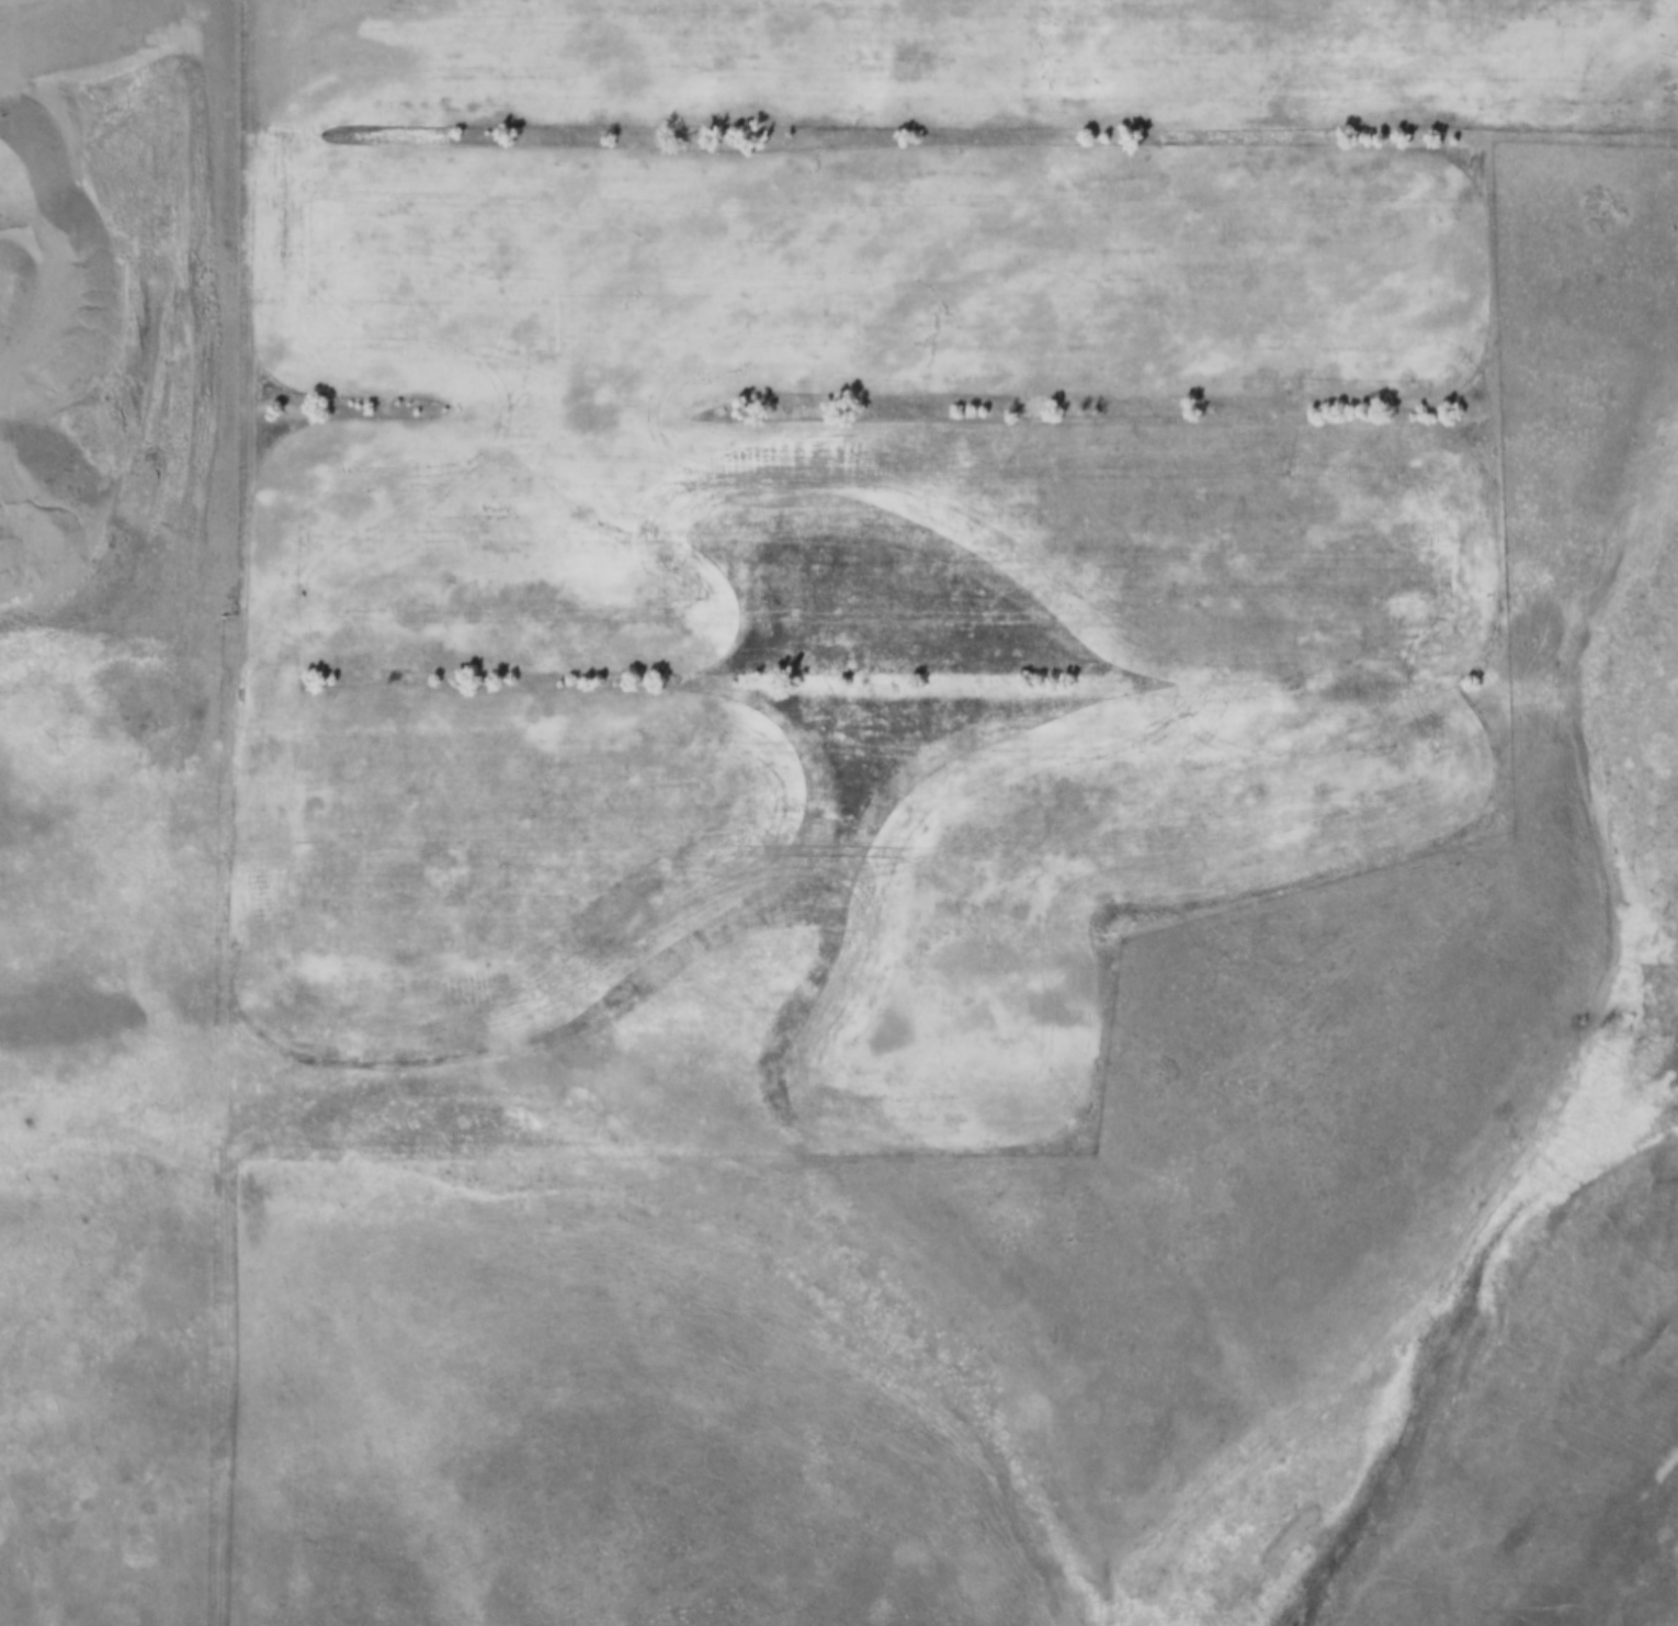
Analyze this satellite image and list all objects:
quarry: (98, 318)
road: (234, 812)

